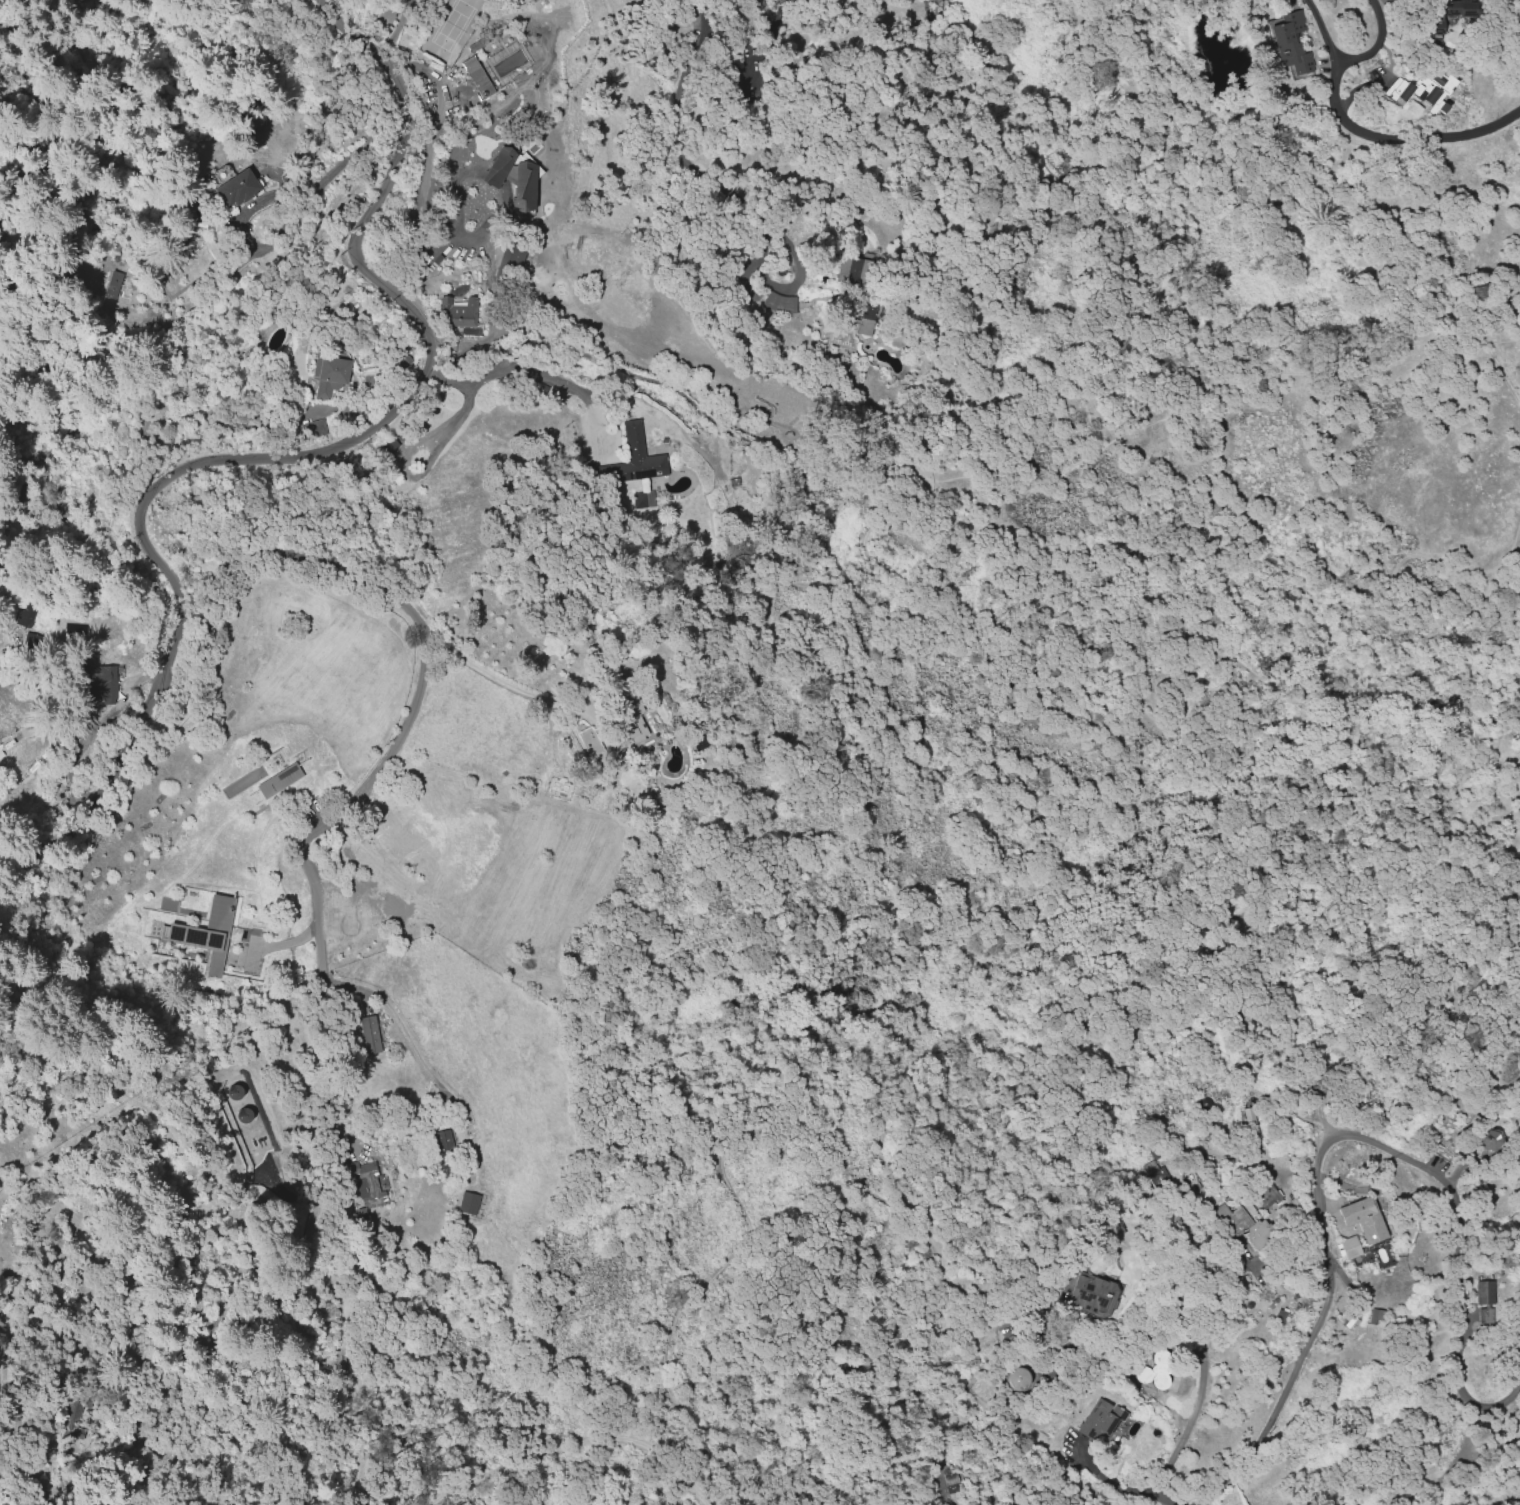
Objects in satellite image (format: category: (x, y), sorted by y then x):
building: (1434, 27)
building: (1291, 44)
road: (1355, 61)
building: (484, 88)
building: (1422, 89)
road: (1405, 142)
road: (682, 148)
building: (513, 176)
building: (236, 188)
road: (268, 198)
road: (443, 246)
building: (508, 257)
building: (848, 270)
building: (113, 284)
building: (780, 302)
building: (458, 312)
building: (865, 317)
building: (329, 375)
road: (517, 377)
building: (388, 446)
road: (309, 456)
building: (634, 458)
building: (639, 499)
road: (835, 506)
road: (263, 558)
building: (30, 643)
road: (500, 683)
road: (421, 694)
road: (1176, 728)
building: (590, 742)
building: (269, 765)
building: (279, 780)
building: (418, 833)
building: (206, 928)
road: (323, 928)
building: (537, 959)
building: (211, 973)
road: (676, 1021)
road: (395, 1023)
road: (1213, 1063)
building: (1254, 1119)
building: (441, 1140)
building: (1489, 1140)
building: (1155, 1173)
building: (368, 1181)
road: (847, 1199)
building: (468, 1203)
building: (1363, 1218)
building: (1245, 1225)
building: (1350, 1246)
road: (1458, 1271)
building: (1484, 1292)
building: (1093, 1293)
road: (1323, 1298)
building: (1485, 1313)
building: (1156, 1371)
building: (1017, 1378)
road: (1503, 1405)
building: (1101, 1419)
road: (1191, 1421)
road: (1450, 1456)
road: (1111, 1481)

